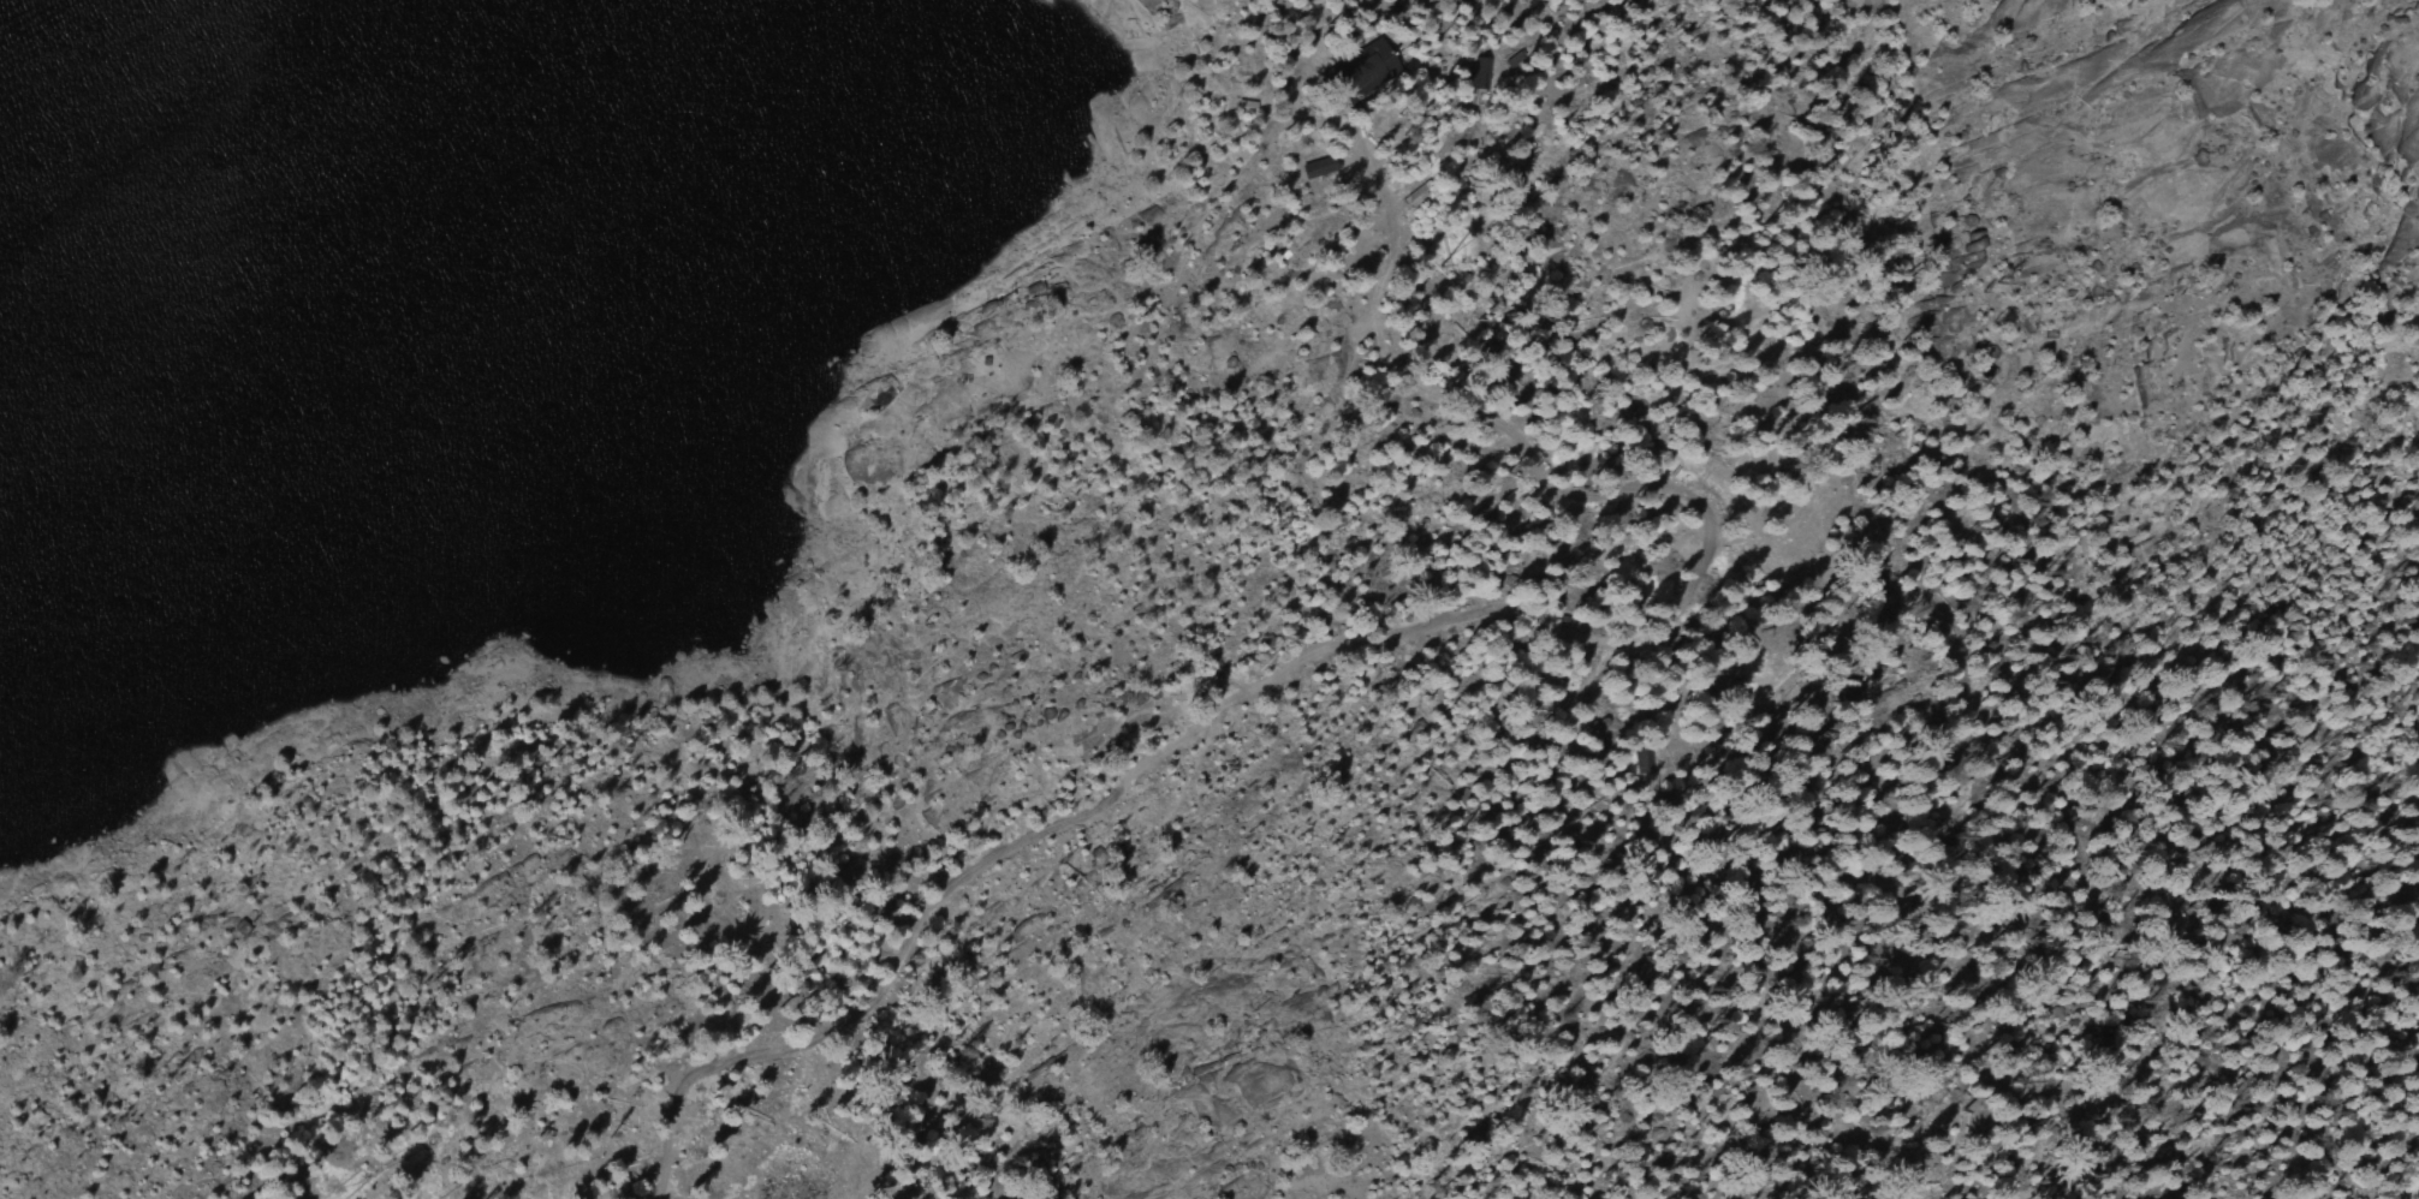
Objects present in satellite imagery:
pier: (1496, 1)
building: (1355, 71)
building: (1310, 167)
road: (1486, 610)

